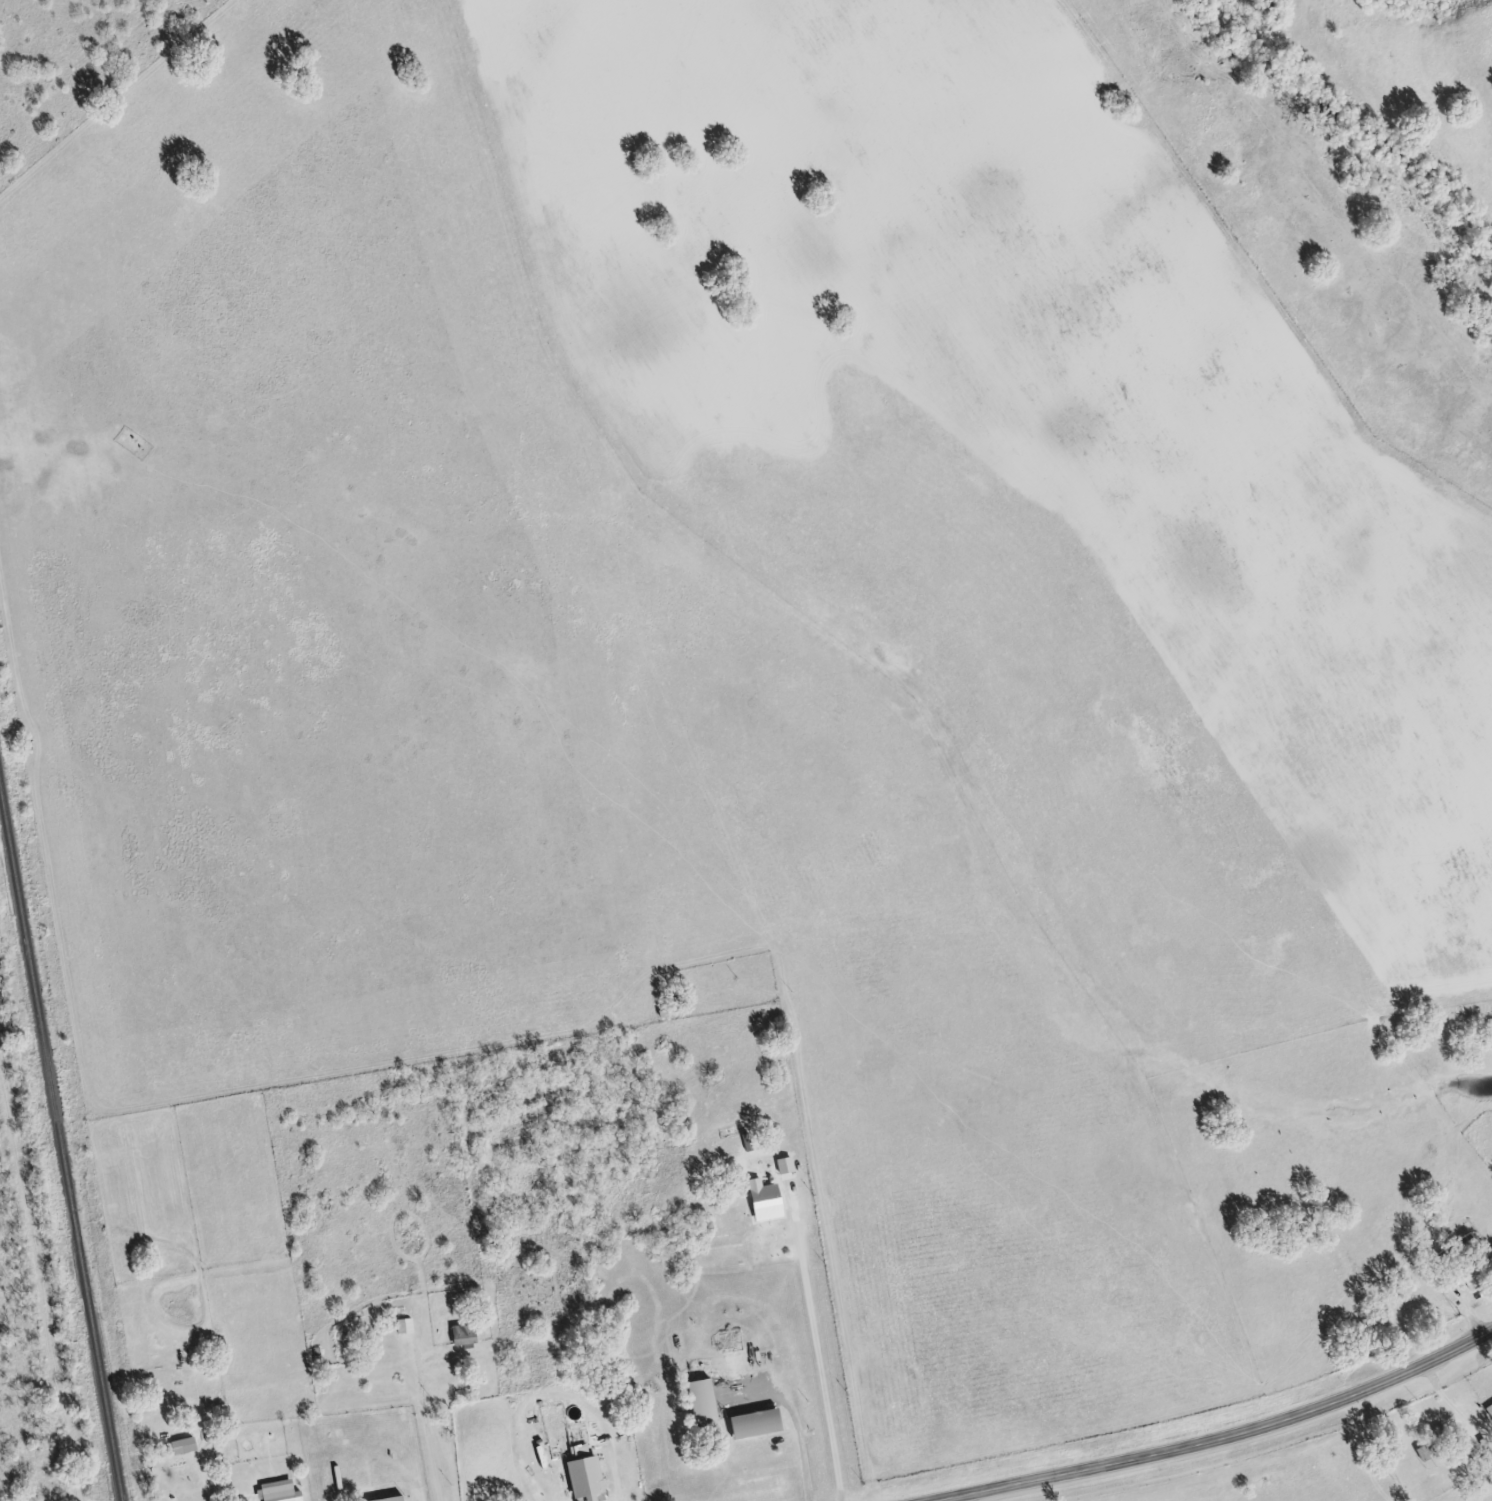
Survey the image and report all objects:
river: (1345, 118)
railway: (59, 1153)
building: (783, 1170)
building: (761, 1203)
building: (1465, 1262)
building: (401, 1327)
building: (461, 1336)
road: (817, 1348)
building: (699, 1402)
road: (1450, 1402)
building: (1488, 1412)
building: (752, 1425)
road: (1226, 1436)
building: (180, 1448)
building: (583, 1480)
building: (276, 1492)
building: (390, 1499)

